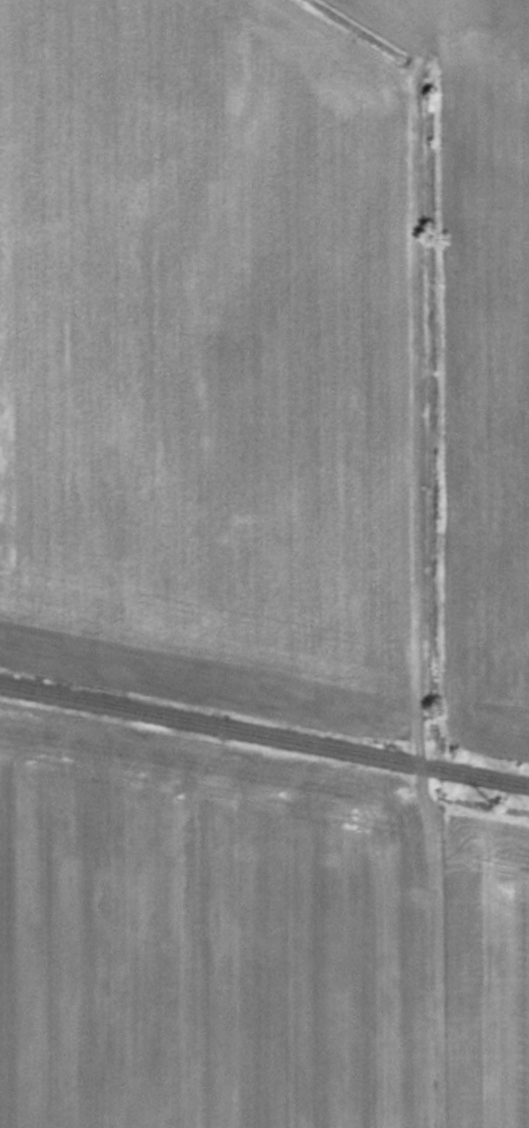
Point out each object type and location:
railway: (264, 735)

